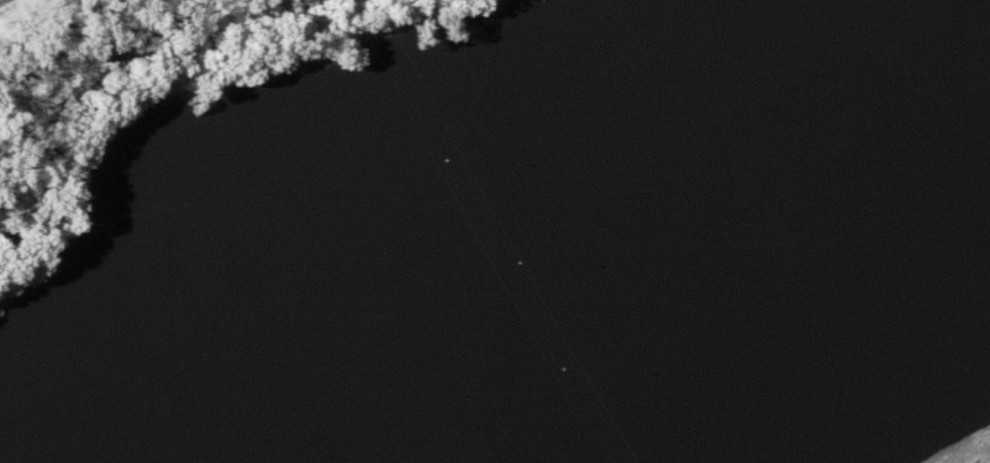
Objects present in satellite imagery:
river: (637, 245)

